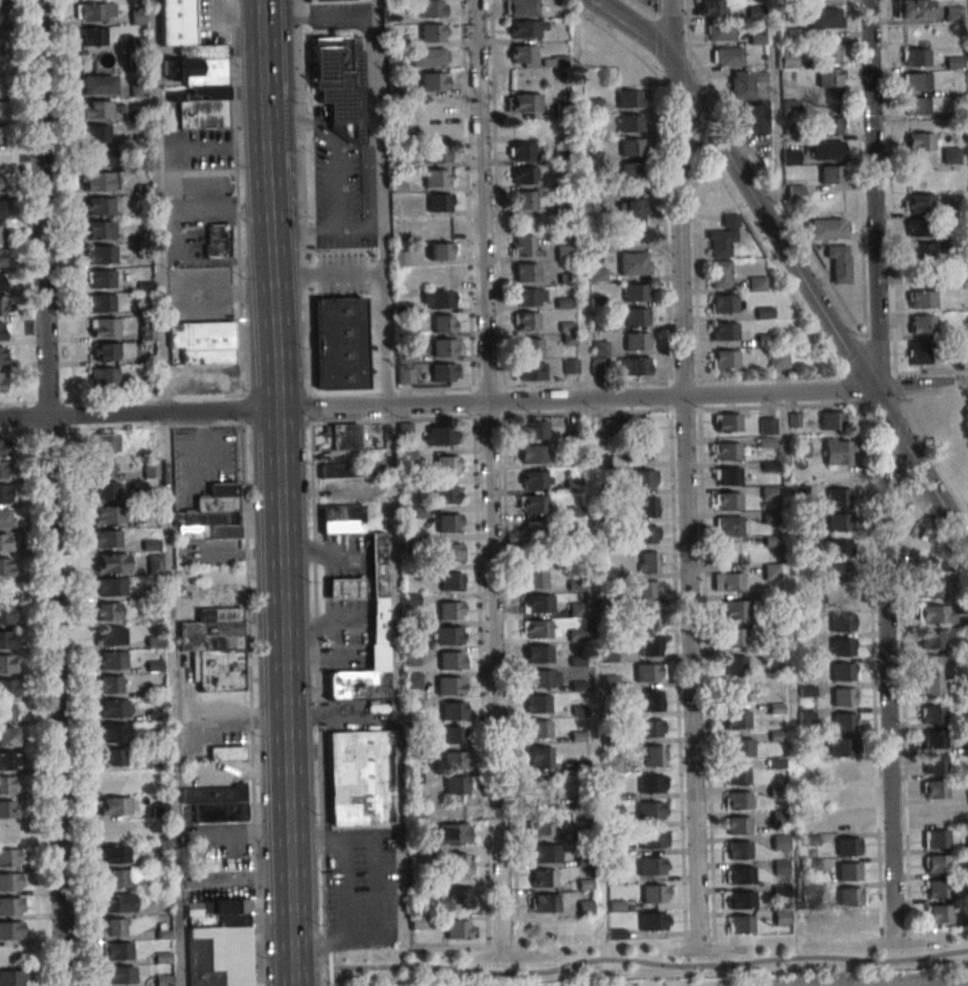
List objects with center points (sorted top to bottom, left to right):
road: (259, 0)
building: (328, 0)
building: (712, 7)
building: (432, 8)
building: (522, 8)
building: (914, 9)
building: (95, 12)
building: (953, 13)
building: (825, 18)
road: (318, 21)
road: (637, 28)
building: (526, 29)
road: (673, 31)
building: (433, 32)
building: (721, 32)
building: (796, 35)
building: (93, 36)
building: (522, 53)
building: (828, 53)
building: (430, 56)
building: (727, 56)
building: (916, 57)
building: (787, 60)
building: (954, 63)
building: (194, 69)
building: (828, 77)
building: (339, 79)
building: (435, 81)
building: (916, 81)
building: (98, 84)
building: (744, 84)
building: (138, 90)
building: (629, 98)
building: (524, 102)
building: (436, 105)
building: (593, 105)
building: (917, 105)
building: (97, 109)
building: (753, 119)
building: (630, 123)
building: (831, 125)
building: (438, 129)
building: (96, 134)
building: (0, 136)
building: (921, 144)
building: (631, 147)
building: (829, 149)
building: (524, 151)
building: (438, 153)
building: (950, 155)
building: (790, 157)
building: (103, 158)
building: (142, 163)
building: (631, 172)
building: (833, 174)
building: (524, 175)
building: (437, 177)
building: (97, 182)
building: (1, 185)
building: (795, 194)
road: (867, 194)
road: (303, 195)
road: (235, 196)
building: (524, 199)
building: (439, 202)
building: (918, 203)
building: (102, 206)
road: (40, 208)
building: (3, 209)
road: (199, 210)
building: (632, 213)
building: (439, 226)
building: (917, 227)
building: (830, 228)
building: (100, 230)
building: (1, 234)
building: (723, 237)
road: (165, 240)
building: (217, 240)
building: (524, 246)
building: (442, 251)
building: (919, 251)
building: (565, 252)
building: (101, 255)
building: (2, 258)
road: (221, 261)
building: (633, 263)
building: (838, 263)
building: (525, 272)
building: (720, 274)
building: (100, 279)
building: (3, 282)
building: (757, 284)
building: (635, 292)
building: (530, 296)
building: (922, 298)
building: (438, 299)
building: (101, 303)
building: (722, 304)
building: (3, 307)
road: (819, 307)
building: (763, 312)
building: (636, 316)
building: (525, 321)
building: (444, 323)
building: (921, 324)
building: (104, 327)
building: (3, 331)
building: (723, 331)
building: (147, 332)
building: (636, 341)
building: (203, 342)
building: (444, 347)
building: (530, 347)
building: (106, 351)
building: (917, 352)
building: (3, 355)
building: (778, 358)
building: (724, 359)
building: (634, 366)
building: (444, 371)
building: (530, 371)
building: (405, 375)
building: (104, 377)
building: (2, 382)
road: (466, 403)
road: (310, 406)
road: (242, 408)
building: (830, 420)
building: (727, 422)
building: (635, 426)
building: (767, 426)
building: (534, 429)
building: (404, 431)
building: (439, 435)
building: (345, 436)
building: (105, 442)
building: (3, 448)
building: (766, 449)
building: (800, 449)
building: (726, 451)
building: (838, 451)
building: (641, 452)
building: (532, 454)
building: (446, 464)
building: (101, 466)
building: (150, 469)
building: (351, 469)
building: (5, 470)
road: (389, 471)
building: (726, 476)
road: (488, 478)
building: (644, 478)
building: (535, 480)
building: (104, 489)
road: (168, 492)
road: (276, 493)
building: (6, 494)
building: (446, 494)
building: (836, 498)
building: (727, 501)
building: (535, 504)
building: (648, 506)
road: (685, 506)
building: (214, 513)
building: (104, 515)
building: (6, 518)
building: (342, 519)
building: (837, 522)
building: (449, 523)
building: (731, 525)
road: (934, 527)
building: (534, 530)
building: (645, 534)
building: (918, 536)
building: (106, 538)
building: (5, 542)
building: (835, 548)
building: (450, 552)
building: (729, 552)
road: (323, 553)
building: (111, 562)
building: (650, 562)
road: (343, 565)
building: (6, 566)
building: (154, 566)
building: (376, 566)
building: (771, 571)
building: (838, 572)
building: (534, 579)
building: (451, 581)
building: (728, 581)
building: (110, 586)
building: (647, 589)
building: (929, 589)
road: (330, 590)
building: (343, 590)
road: (344, 590)
road: (357, 590)
building: (839, 597)
building: (537, 604)
building: (577, 609)
building: (735, 609)
building: (451, 610)
building: (107, 611)
road: (344, 613)
building: (8, 615)
building: (933, 615)
building: (650, 617)
building: (378, 622)
building: (840, 622)
road: (324, 626)
building: (539, 629)
building: (576, 634)
building: (448, 635)
building: (111, 636)
building: (735, 637)
building: (6, 639)
building: (931, 639)
building: (651, 645)
building: (840, 647)
building: (216, 648)
building: (538, 653)
building: (377, 658)
building: (112, 660)
building: (452, 660)
building: (8, 664)
building: (734, 664)
road: (885, 665)
building: (649, 672)
building: (841, 672)
building: (932, 677)
building: (543, 678)
building: (110, 684)
building: (357, 686)
building: (8, 688)
building: (736, 692)
road: (317, 695)
building: (842, 697)
building: (462, 698)
building: (654, 700)
road: (53, 701)
road: (904, 702)
building: (537, 703)
road: (251, 705)
building: (115, 708)
building: (8, 712)
building: (933, 715)
building: (736, 719)
building: (843, 722)
building: (649, 728)
building: (539, 729)
building: (113, 732)
building: (9, 736)
building: (934, 740)
building: (462, 747)
building: (742, 747)
building: (840, 747)
building: (227, 753)
building: (654, 756)
building: (113, 757)
building: (539, 757)
building: (10, 760)
building: (612, 764)
building: (934, 765)
building: (844, 772)
building: (736, 775)
building: (361, 777)
building: (112, 780)
building: (652, 784)
building: (8, 785)
building: (454, 786)
building: (935, 790)
building: (540, 791)
building: (737, 800)
building: (217, 804)
building: (115, 806)
building: (9, 809)
building: (650, 811)
building: (935, 815)
building: (843, 821)
building: (540, 823)
building: (736, 825)
building: (114, 830)
building: (455, 833)
building: (653, 838)
road: (195, 839)
building: (937, 839)
building: (779, 843)
building: (847, 846)
building: (738, 849)
building: (543, 853)
building: (115, 854)
building: (11, 857)
building: (225, 864)
building: (460, 864)
building: (938, 864)
building: (652, 866)
building: (811, 867)
building: (848, 871)
building: (739, 875)
building: (118, 878)
building: (543, 878)
building: (11, 882)
road: (375, 889)
building: (938, 889)
road: (346, 890)
building: (654, 893)
building: (848, 896)
building: (461, 897)
building: (741, 900)
building: (118, 903)
building: (545, 903)
building: (11, 906)
building: (193, 909)
building: (939, 913)
building: (782, 918)
building: (653, 921)
building: (850, 921)
building: (418, 922)
building: (739, 924)
building: (115, 927)
building: (543, 928)
building: (457, 929)
building: (11, 930)
building: (223, 947)
building: (119, 951)
road: (649, 962)
building: (122, 974)
road: (331, 976)
building: (11, 978)

